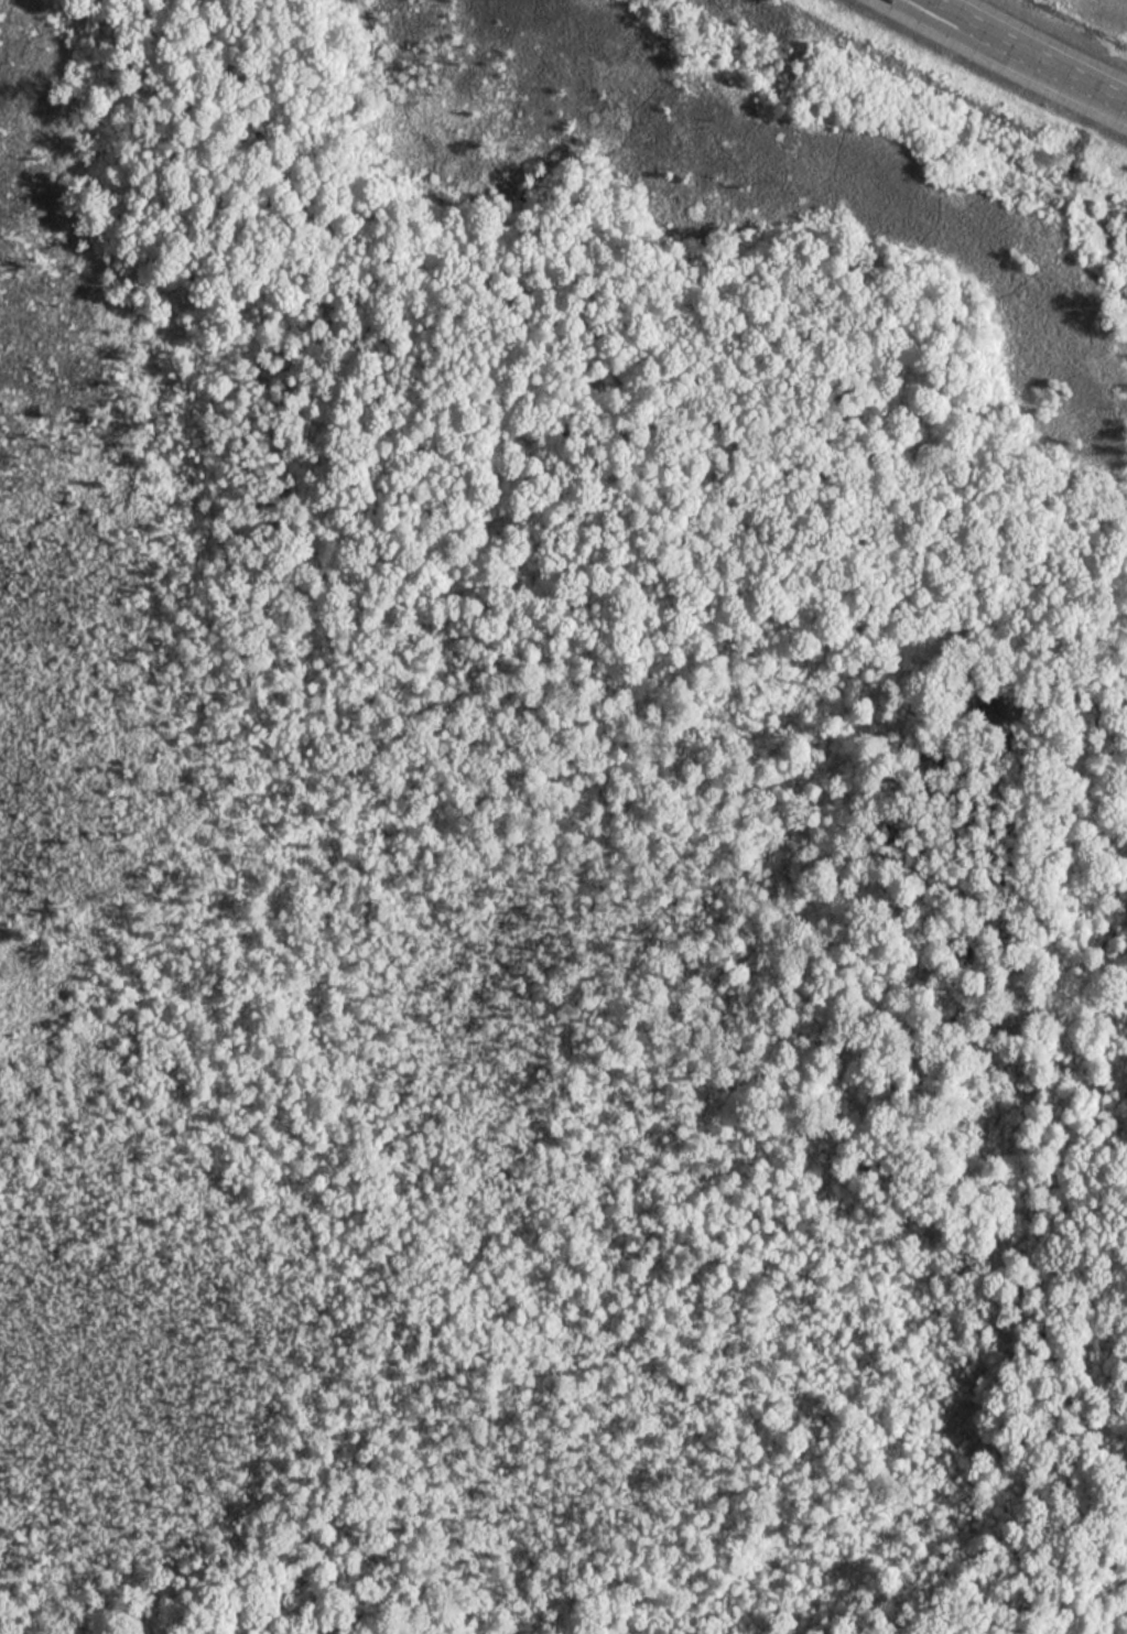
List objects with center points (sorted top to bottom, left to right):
road: (890, 2)
road: (1005, 63)

